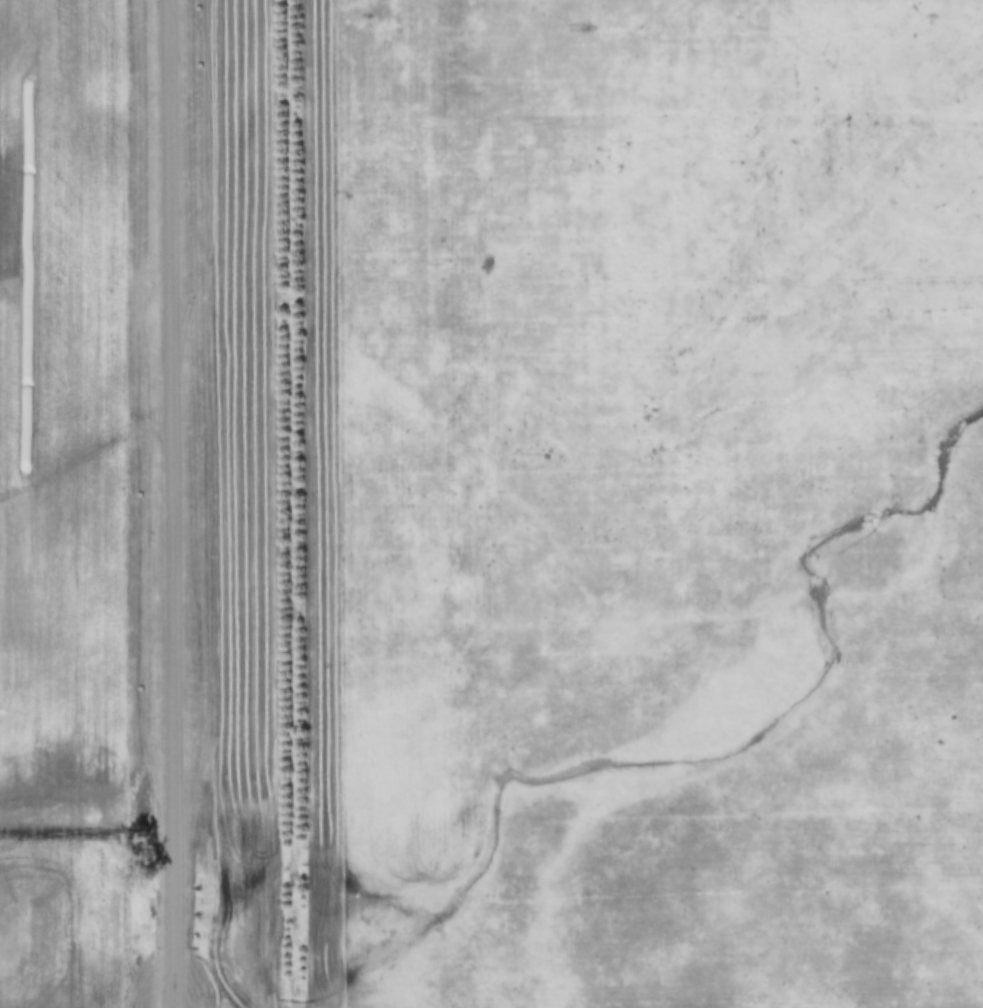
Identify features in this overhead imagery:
road: (174, 503)

